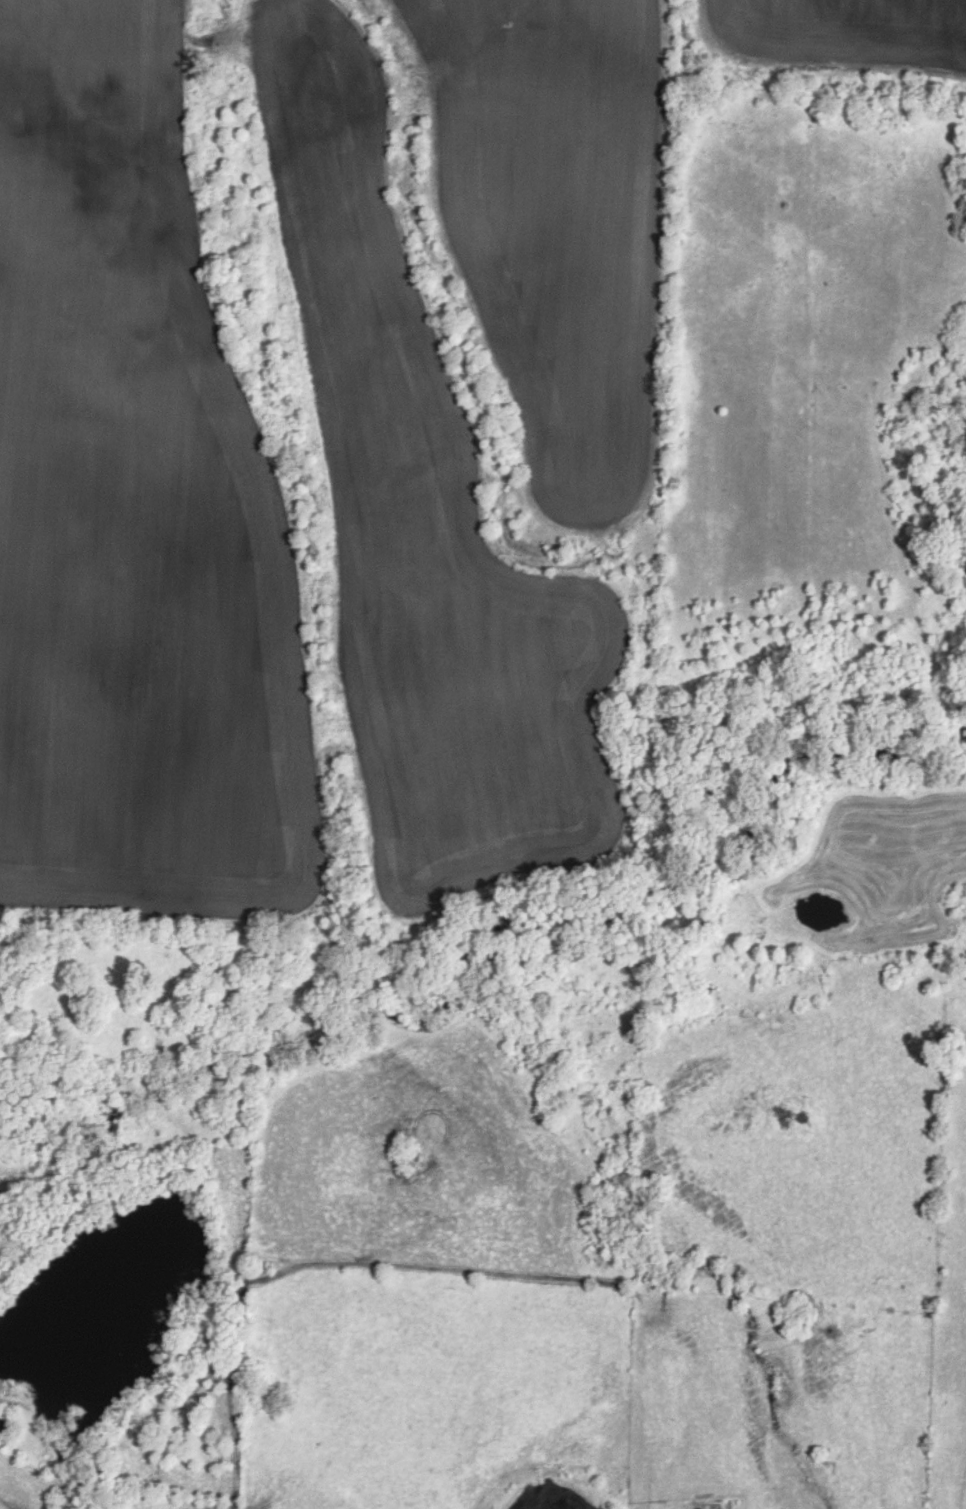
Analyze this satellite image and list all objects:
building: (708, 1507)

